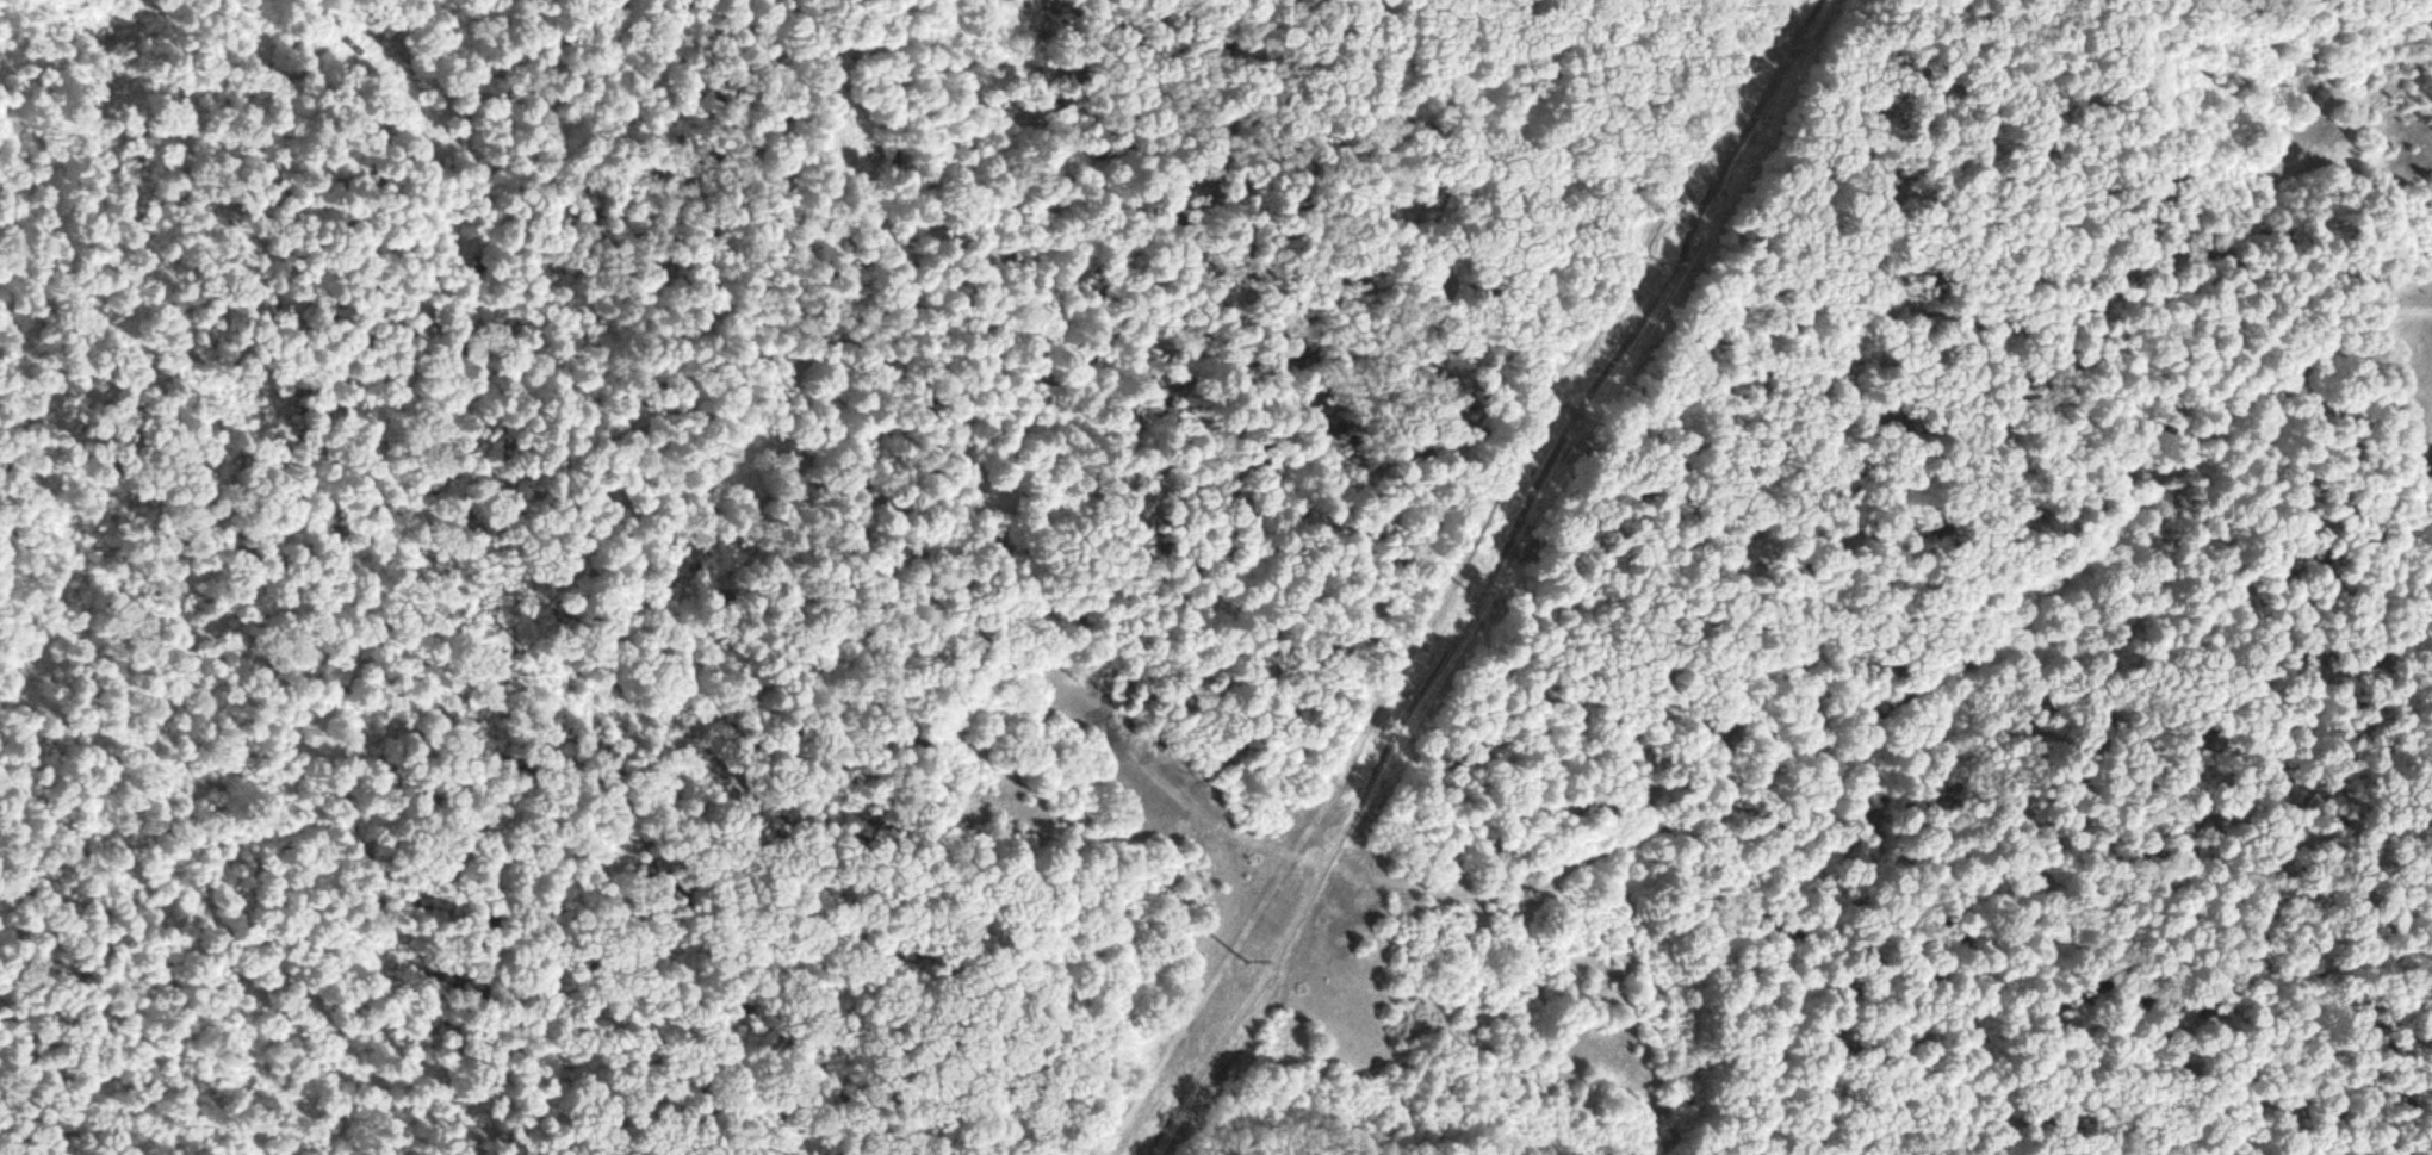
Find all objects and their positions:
road: (1892, 12)
power tower: (1652, 261)
power tower: (1464, 586)
power tower: (1249, 957)

